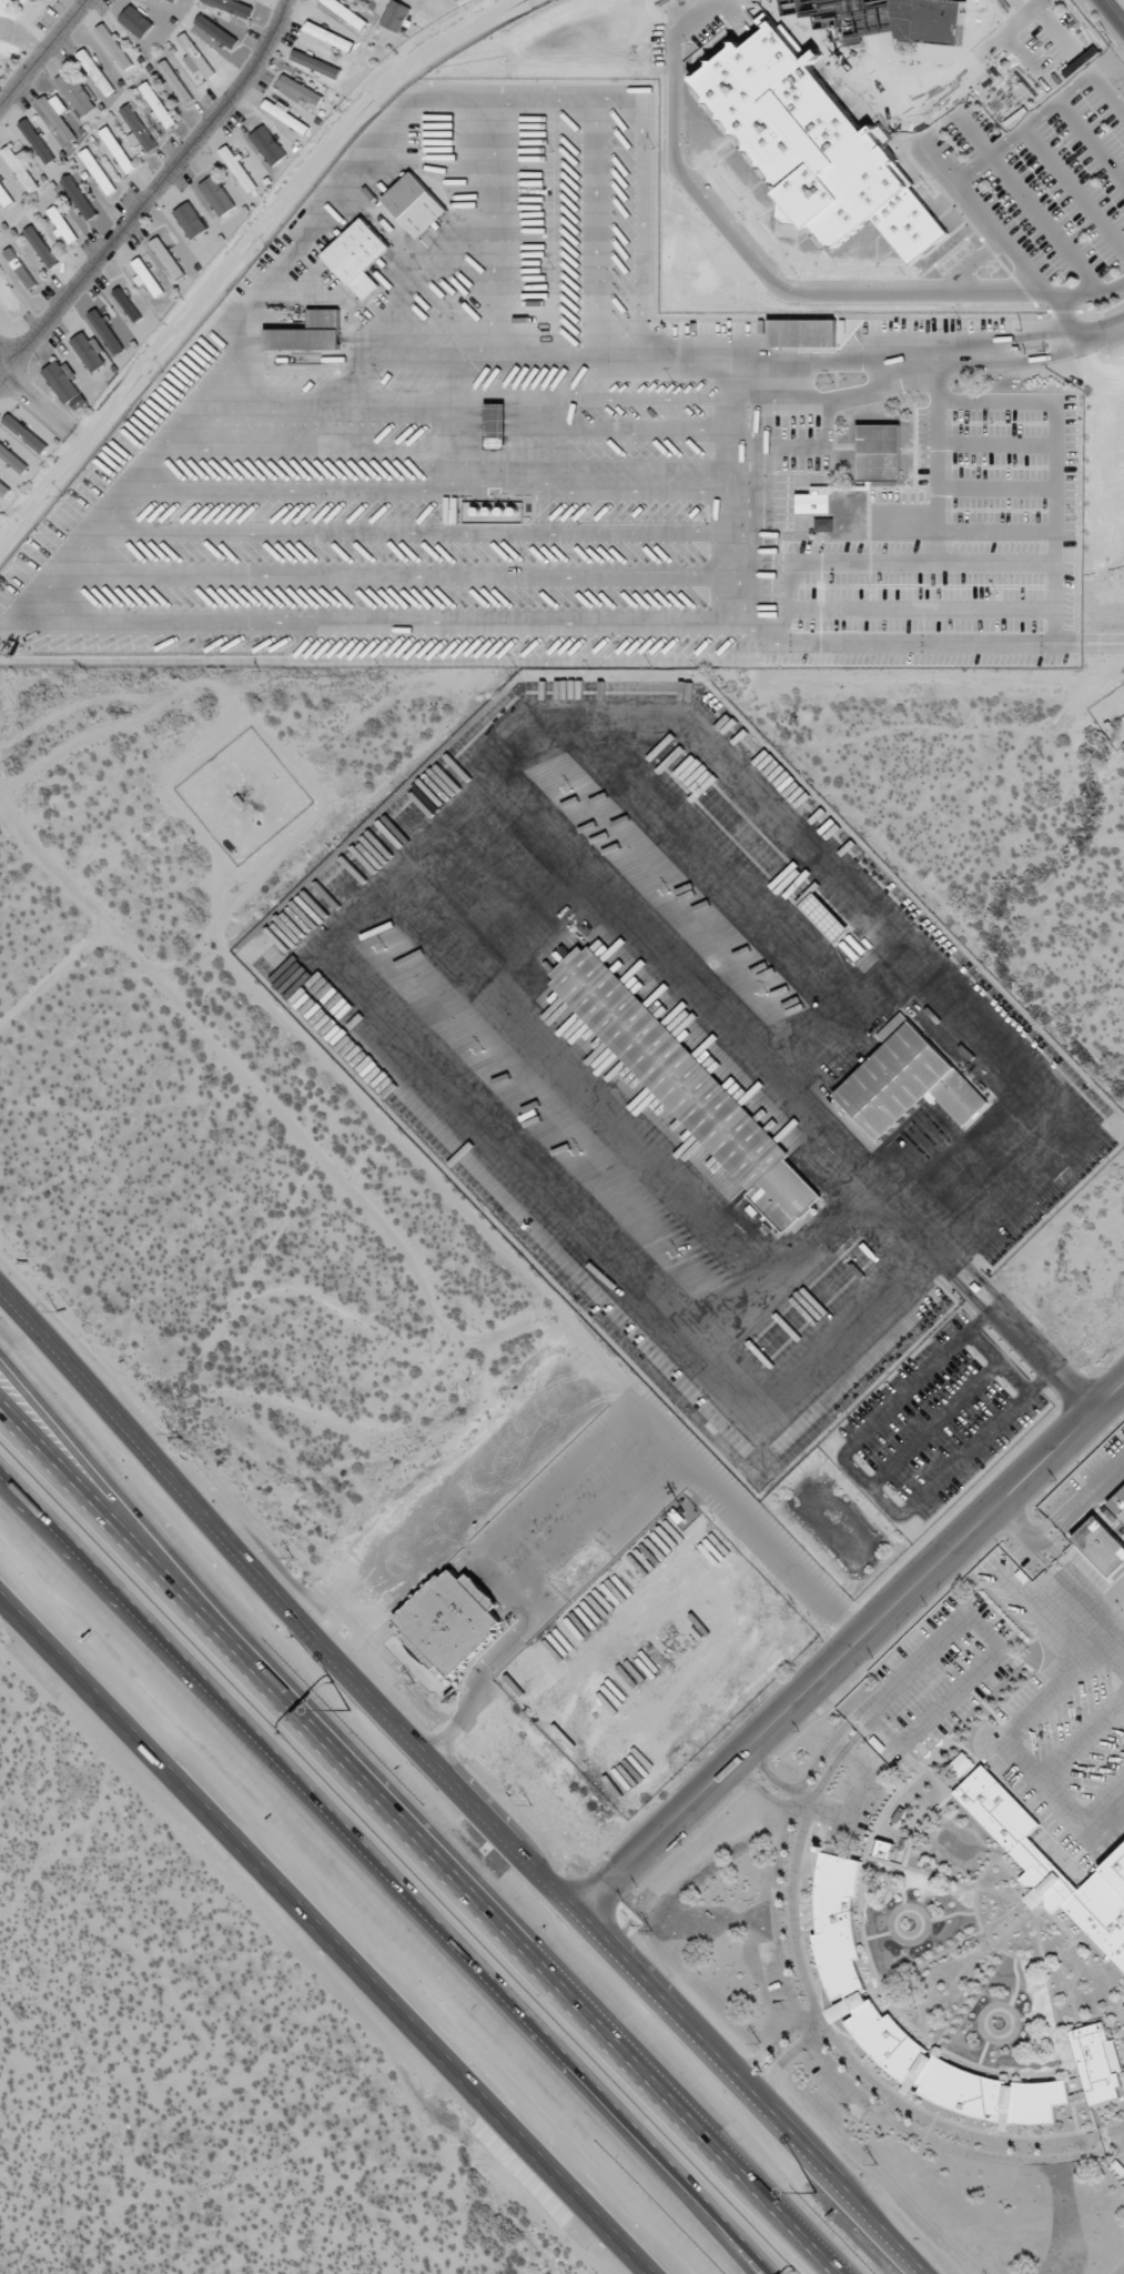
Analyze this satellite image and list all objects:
building: (368, 0)
road: (1035, 1)
building: (232, 7)
building: (343, 10)
road: (1113, 12)
building: (395, 16)
building: (135, 21)
building: (324, 33)
building: (114, 47)
road: (40, 51)
building: (195, 57)
road: (853, 58)
road: (1079, 58)
building: (316, 64)
building: (95, 72)
building: (175, 82)
building: (301, 89)
building: (75, 92)
building: (155, 104)
building: (58, 114)
building: (283, 114)
building: (138, 130)
building: (37, 141)
building: (269, 144)
building: (814, 147)
building: (117, 150)
road: (941, 168)
building: (21, 169)
building: (239, 169)
building: (97, 171)
road: (149, 194)
building: (217, 195)
building: (4, 197)
building: (79, 197)
building: (414, 204)
building: (190, 220)
building: (62, 224)
building: (41, 246)
road: (747, 252)
building: (357, 256)
building: (168, 258)
building: (145, 275)
building: (8, 296)
building: (126, 304)
road: (1069, 319)
building: (107, 324)
building: (801, 332)
building: (308, 333)
building: (89, 351)
road: (862, 356)
building: (64, 384)
road: (32, 395)
road: (391, 409)
building: (26, 433)
building: (878, 452)
building: (12, 459)
building: (3, 490)
building: (813, 501)
building: (823, 524)
road: (77, 545)
building: (823, 917)
building: (905, 1081)
building: (688, 1086)
road: (976, 1288)
road: (584, 1455)
road: (871, 1487)
building: (1117, 1503)
building: (1101, 1546)
road: (158, 1549)
building: (452, 1619)
road: (851, 1647)
building: (961, 1764)
road: (462, 1784)
road: (417, 1839)
building: (883, 1849)
building: (1051, 1867)
road: (376, 1872)
road: (330, 1934)
building: (1096, 2063)
road: (756, 2268)
road: (757, 2268)

